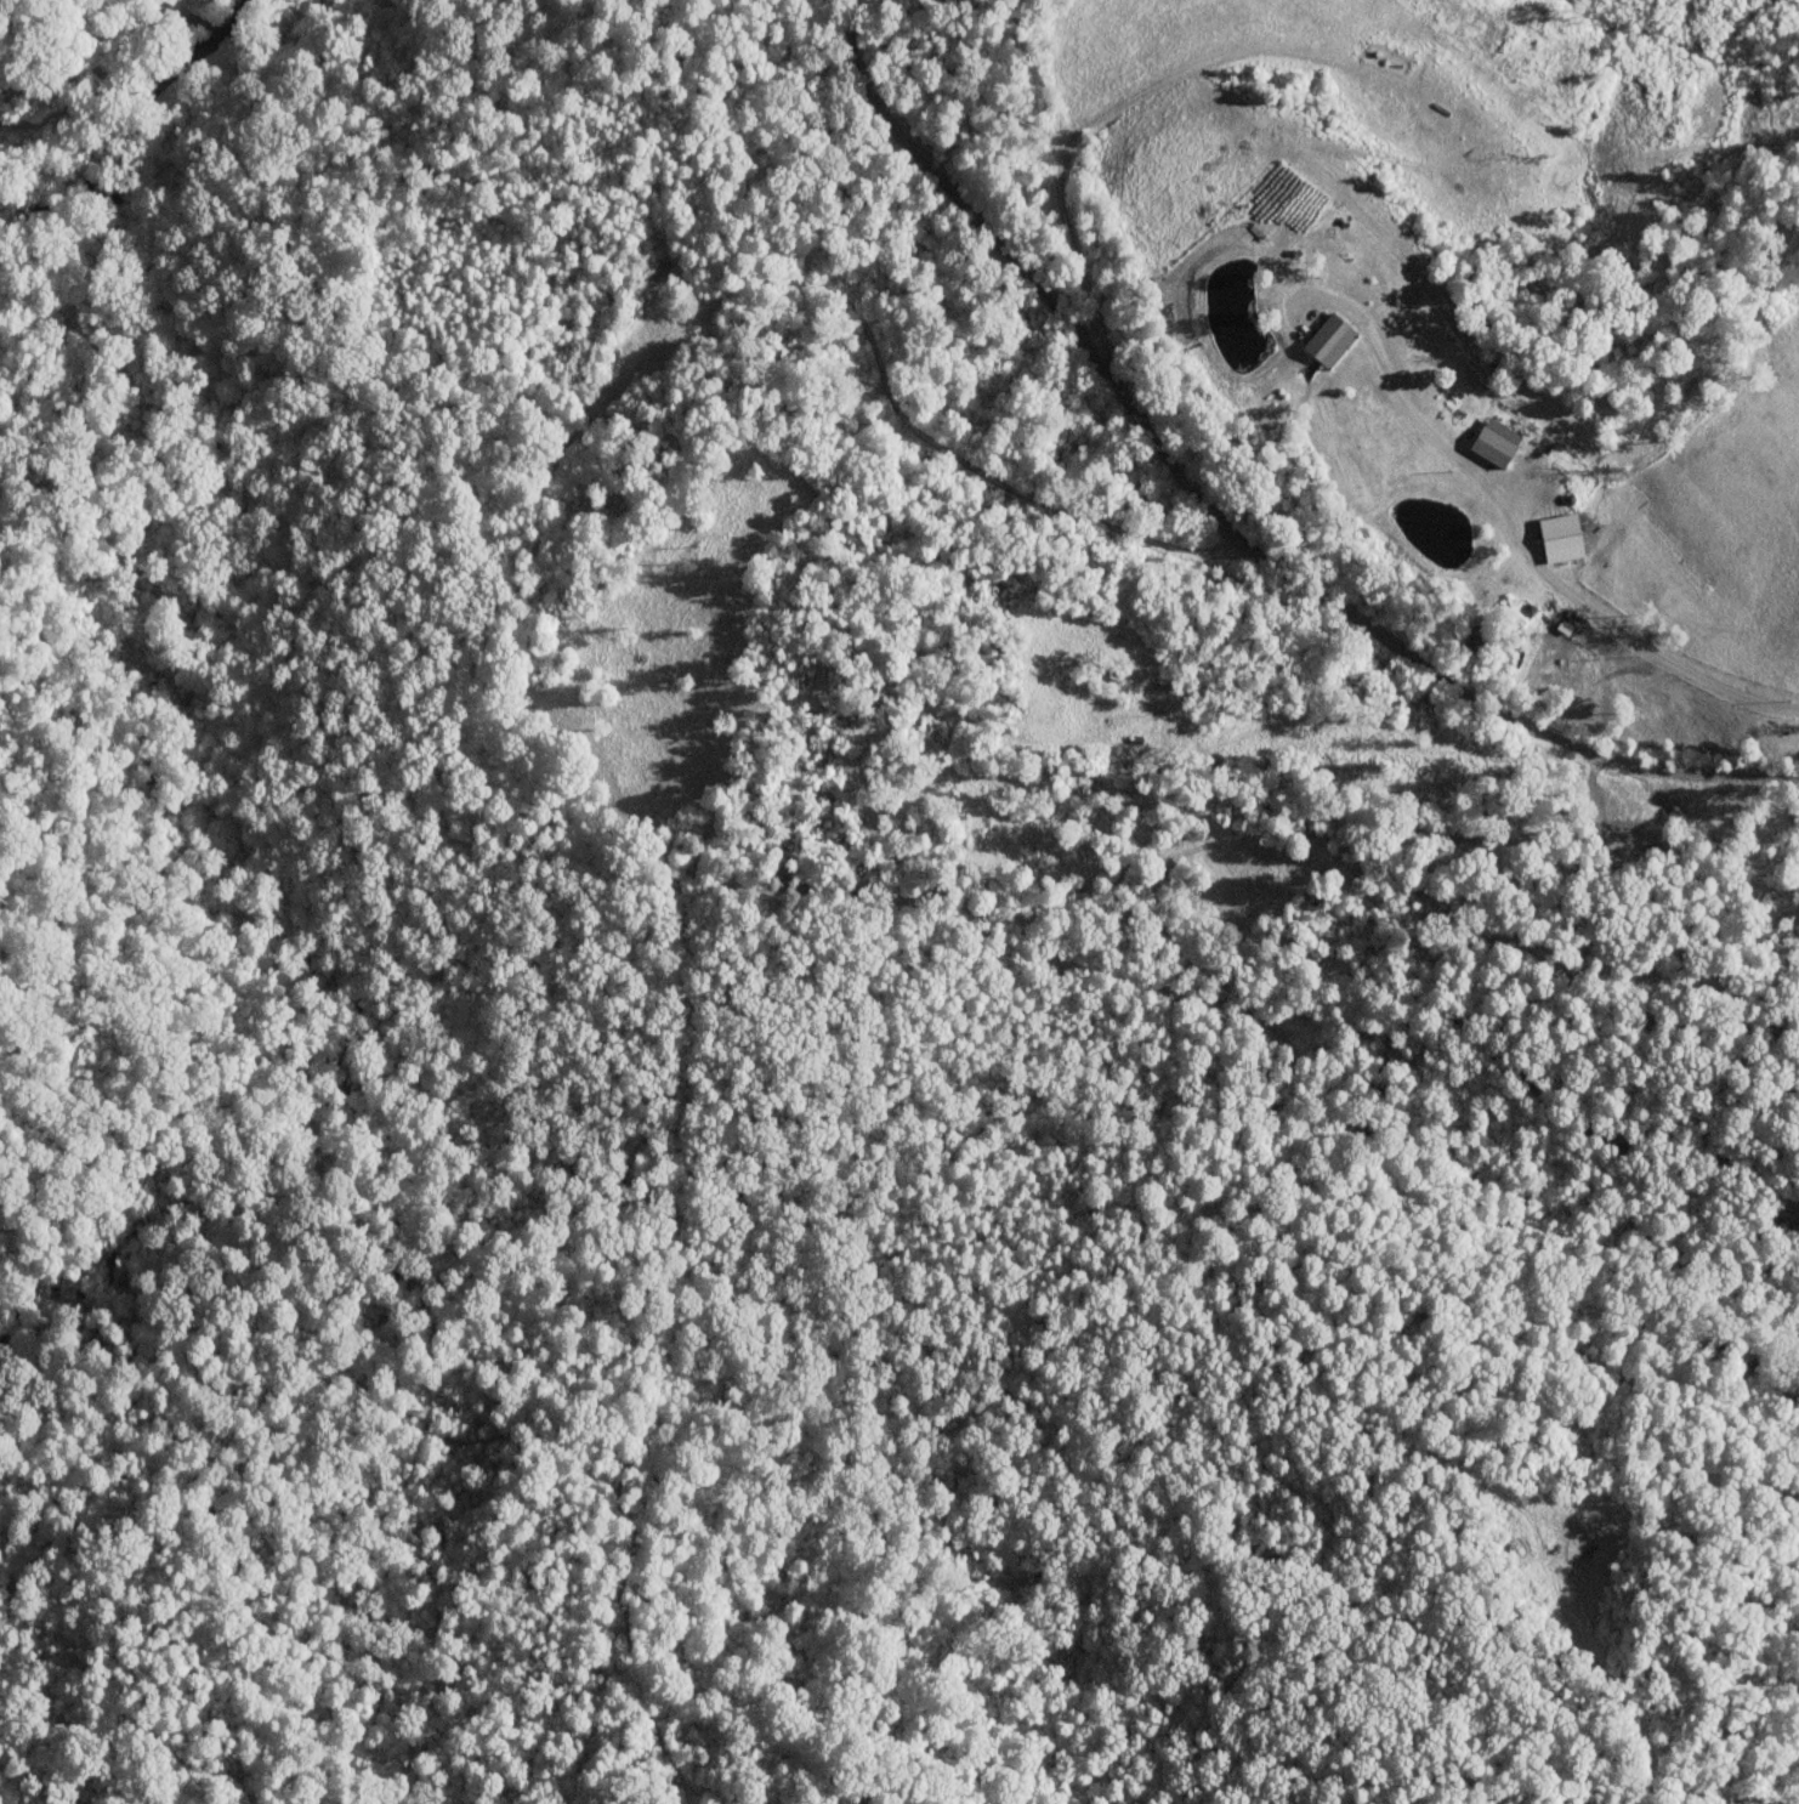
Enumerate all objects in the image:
road: (50, 76)
road: (97, 78)
building: (1329, 337)
building: (1494, 441)
road: (1218, 523)
building: (1559, 529)
road: (1385, 761)

